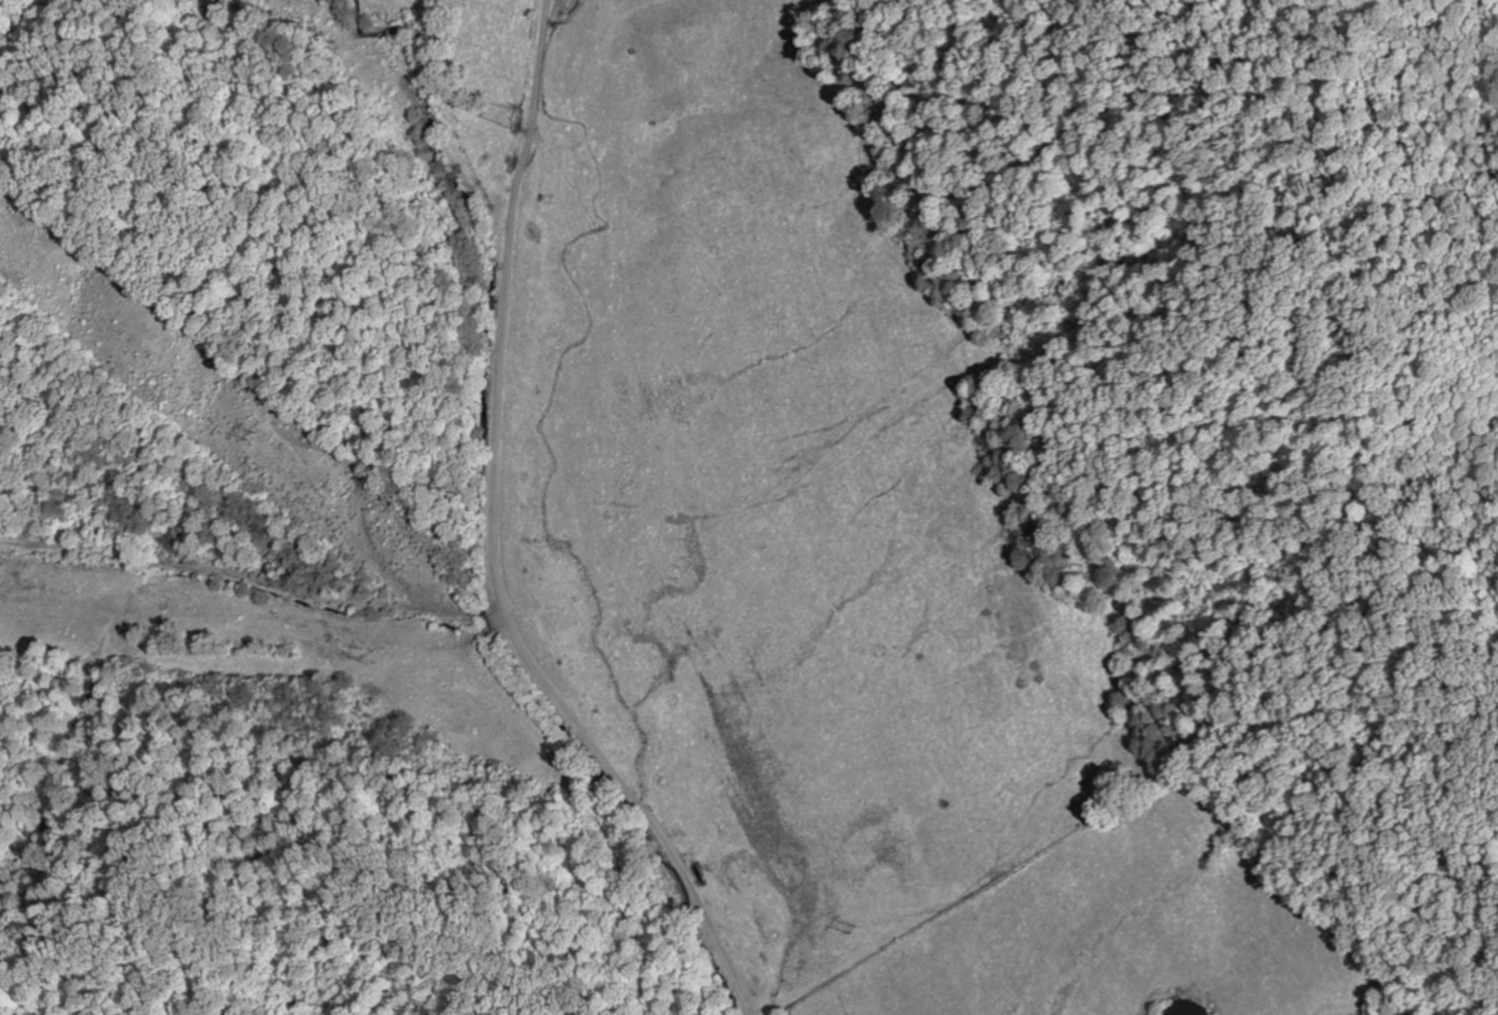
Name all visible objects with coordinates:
road: (504, 524)

